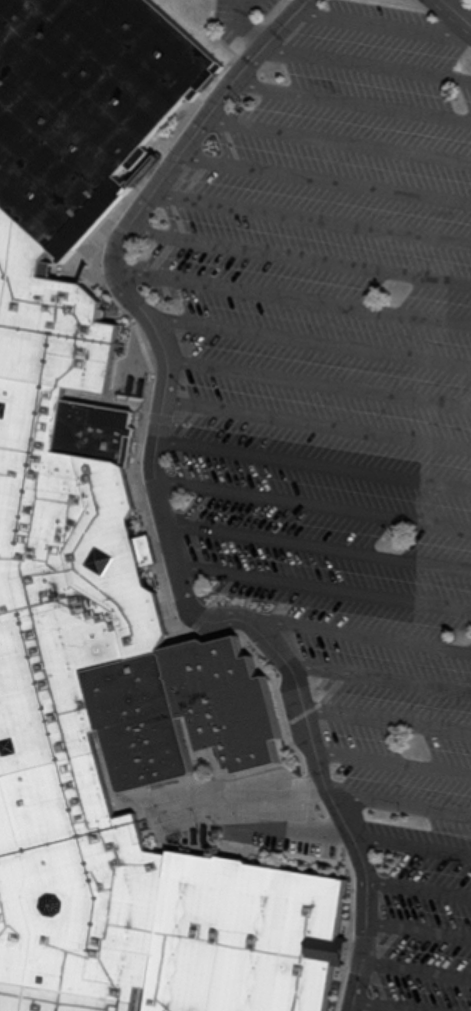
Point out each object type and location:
road: (238, 1)
road: (456, 12)
road: (384, 17)
road: (245, 20)
road: (367, 57)
road: (353, 93)
road: (340, 132)
road: (326, 172)
road: (312, 214)
road: (301, 250)
road: (291, 290)
parking lot: (327, 298)
road: (305, 333)
road: (318, 377)
road: (317, 415)
road: (314, 456)
road: (312, 497)
road: (159, 510)
road: (316, 539)
building: (98, 572)
road: (322, 580)
road: (356, 627)
road: (379, 670)
building: (182, 702)
road: (387, 714)
parking lot: (382, 738)
road: (392, 758)
road: (398, 798)
road: (296, 820)
road: (412, 840)
road: (418, 883)
road: (417, 922)
road: (416, 965)
road: (407, 1000)

